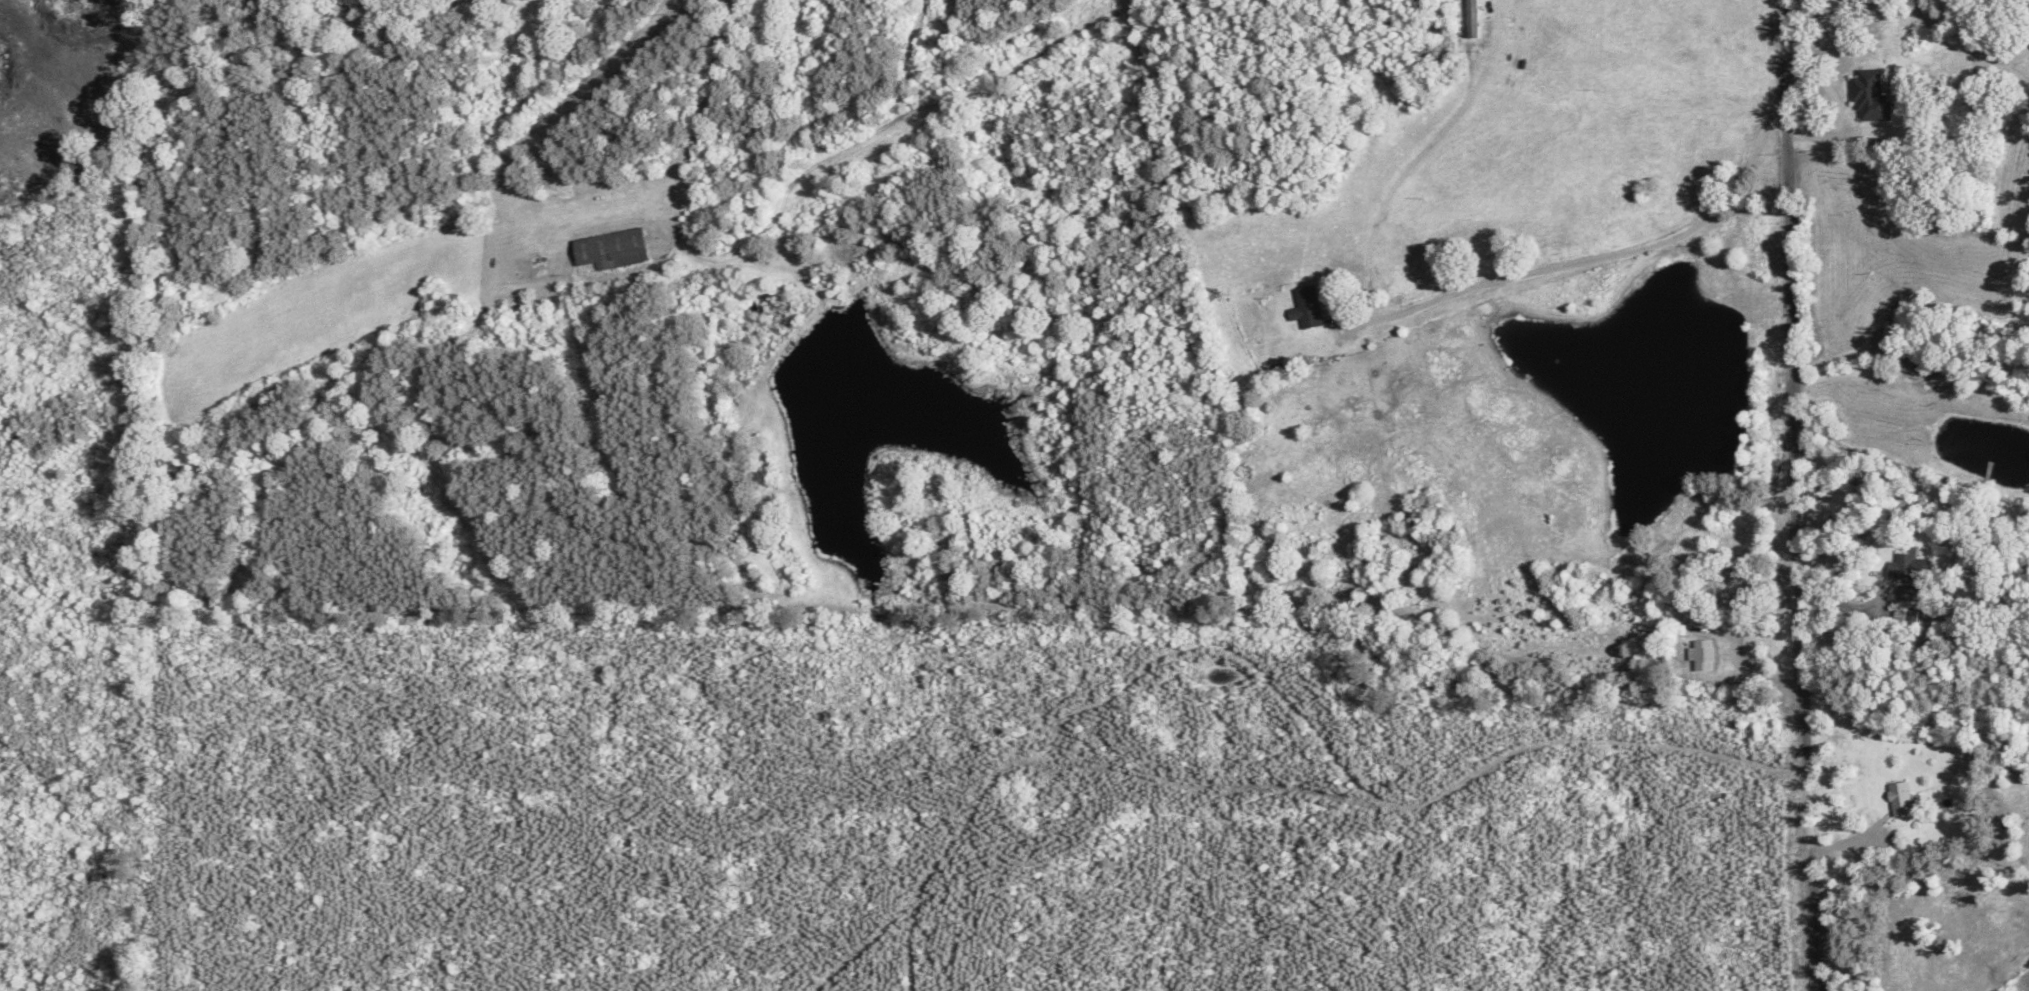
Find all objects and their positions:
building: (1869, 97)
road: (214, 99)
building: (603, 252)
building: (1304, 309)
building: (1905, 366)
road: (1806, 495)
building: (1897, 799)

